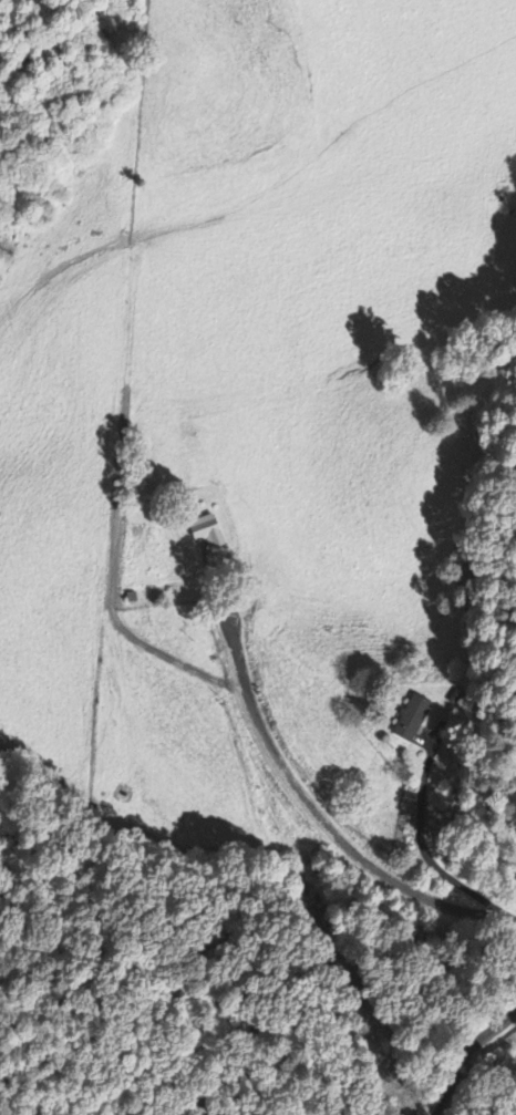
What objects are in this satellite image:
building: (203, 530)
building: (411, 720)
road: (323, 818)
road: (467, 1056)

